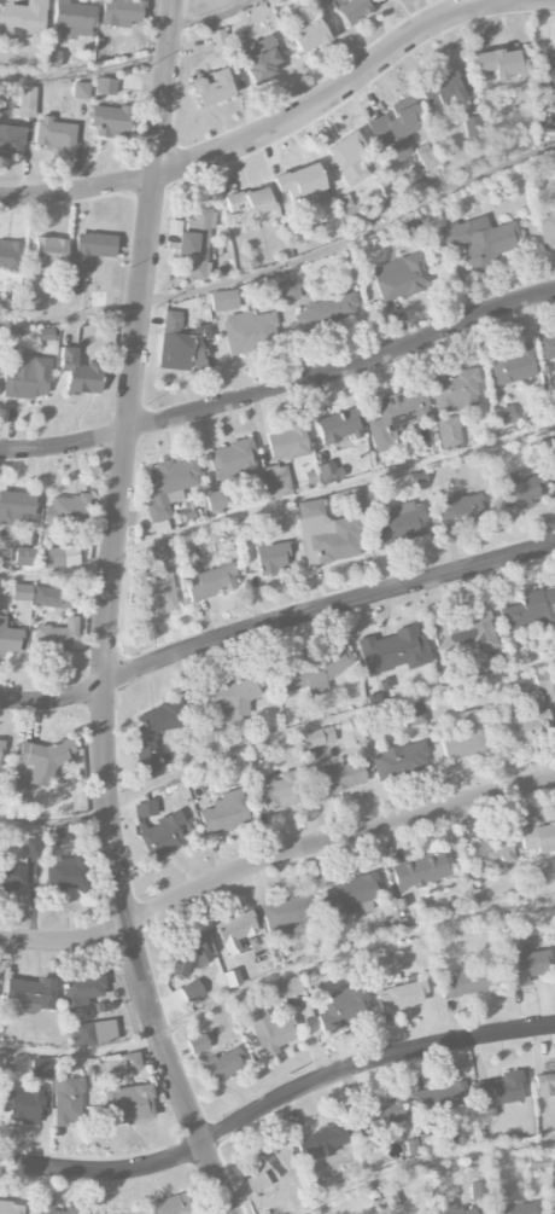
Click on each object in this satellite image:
building: (351, 10)
building: (119, 12)
building: (71, 17)
building: (22, 18)
road: (215, 19)
building: (304, 31)
building: (218, 40)
building: (51, 58)
building: (259, 59)
building: (499, 64)
building: (548, 65)
road: (86, 71)
building: (105, 86)
building: (211, 87)
building: (442, 89)
building: (80, 91)
building: (27, 100)
building: (0, 120)
building: (110, 121)
building: (472, 126)
building: (395, 129)
road: (265, 130)
building: (54, 134)
building: (11, 140)
building: (347, 158)
building: (299, 185)
building: (250, 202)
building: (352, 215)
building: (547, 226)
building: (483, 239)
building: (195, 245)
building: (90, 250)
building: (49, 252)
building: (10, 255)
road: (286, 263)
building: (401, 277)
building: (287, 291)
building: (30, 301)
building: (223, 301)
building: (326, 312)
building: (249, 331)
building: (181, 343)
building: (547, 347)
building: (512, 366)
building: (78, 372)
building: (27, 377)
road: (281, 389)
building: (455, 391)
building: (397, 416)
building: (504, 416)
building: (339, 426)
building: (449, 432)
building: (287, 443)
building: (232, 460)
building: (328, 471)
building: (276, 481)
building: (168, 486)
building: (516, 492)
building: (216, 500)
road: (276, 503)
building: (14, 509)
building: (461, 509)
building: (65, 511)
building: (399, 522)
building: (245, 528)
building: (327, 533)
building: (152, 554)
building: (24, 556)
building: (52, 557)
building: (273, 558)
building: (211, 581)
building: (22, 592)
building: (157, 592)
building: (48, 597)
building: (530, 610)
road: (109, 615)
road: (274, 620)
building: (465, 633)
building: (7, 637)
building: (58, 637)
building: (393, 651)
building: (311, 673)
building: (545, 684)
building: (228, 698)
building: (414, 714)
building: (524, 725)
building: (317, 737)
building: (466, 737)
road: (274, 738)
building: (0, 750)
building: (146, 751)
building: (42, 760)
building: (399, 760)
building: (341, 776)
building: (275, 790)
building: (145, 808)
building: (223, 813)
building: (57, 836)
building: (160, 837)
building: (538, 838)
building: (33, 848)
building: (490, 853)
road: (274, 858)
building: (419, 871)
building: (12, 872)
building: (65, 873)
building: (349, 894)
building: (285, 913)
building: (234, 930)
building: (189, 954)
building: (524, 968)
road: (274, 976)
building: (232, 978)
building: (466, 982)
building: (286, 987)
building: (82, 989)
building: (30, 991)
building: (191, 991)
building: (401, 997)
building: (344, 1009)
building: (269, 1032)
building: (92, 1033)
building: (197, 1044)
building: (130, 1062)
building: (222, 1065)
building: (40, 1067)
building: (544, 1085)
building: (499, 1090)
building: (439, 1098)
building: (68, 1100)
road: (274, 1100)
building: (132, 1103)
building: (23, 1106)
building: (387, 1111)
building: (321, 1142)
road: (427, 1158)
building: (536, 1162)
building: (269, 1166)
building: (550, 1204)
building: (52, 1206)
building: (10, 1208)
building: (513, 1209)
building: (454, 1210)

